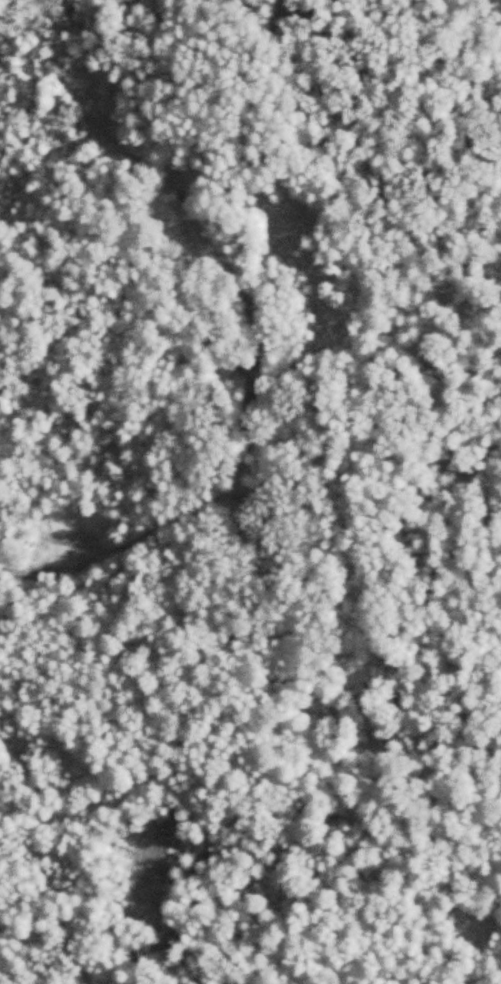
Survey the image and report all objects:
road: (119, 625)

